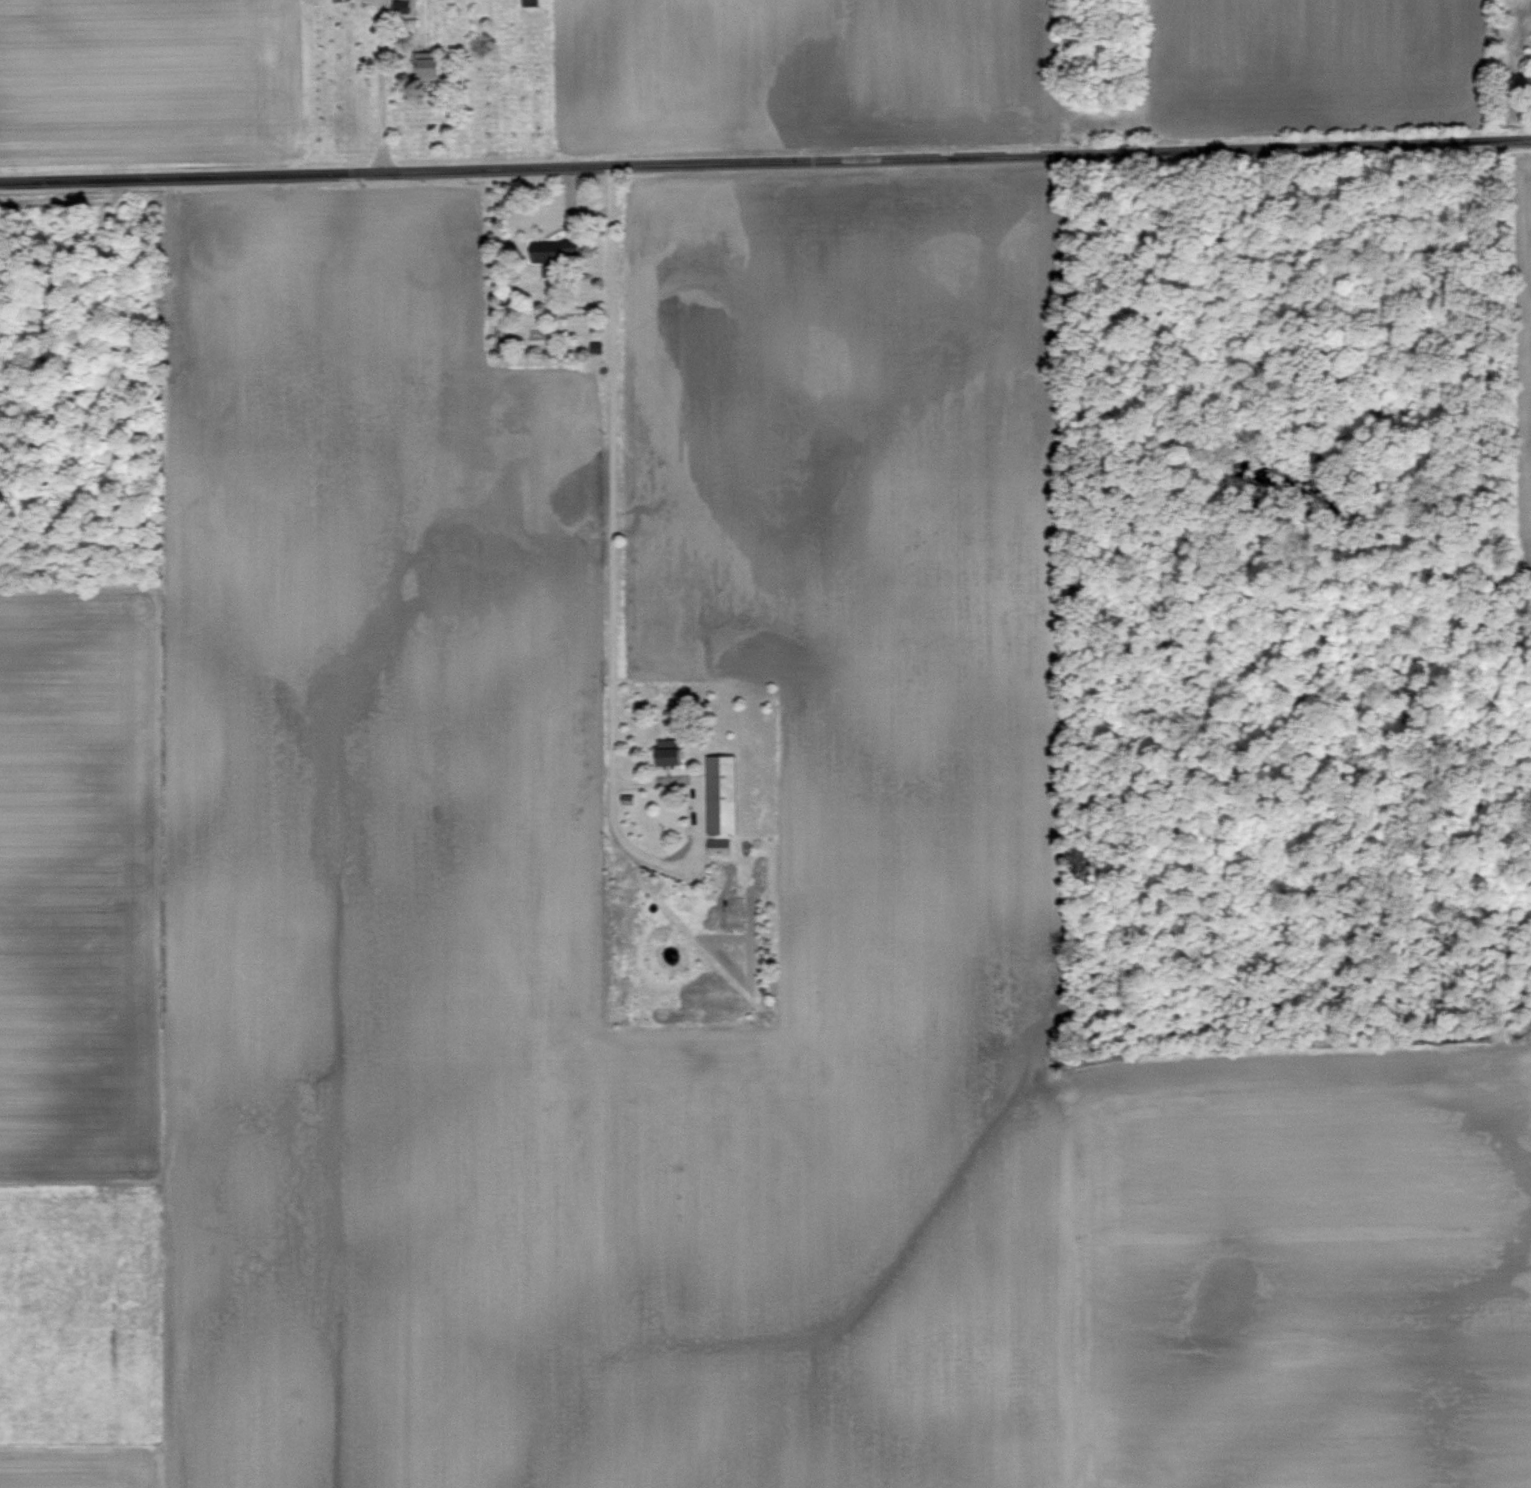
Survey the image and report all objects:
building: (401, 5)
building: (433, 66)
road: (379, 84)
road: (765, 160)
road: (610, 501)
building: (673, 755)
building: (723, 792)
building: (719, 844)

